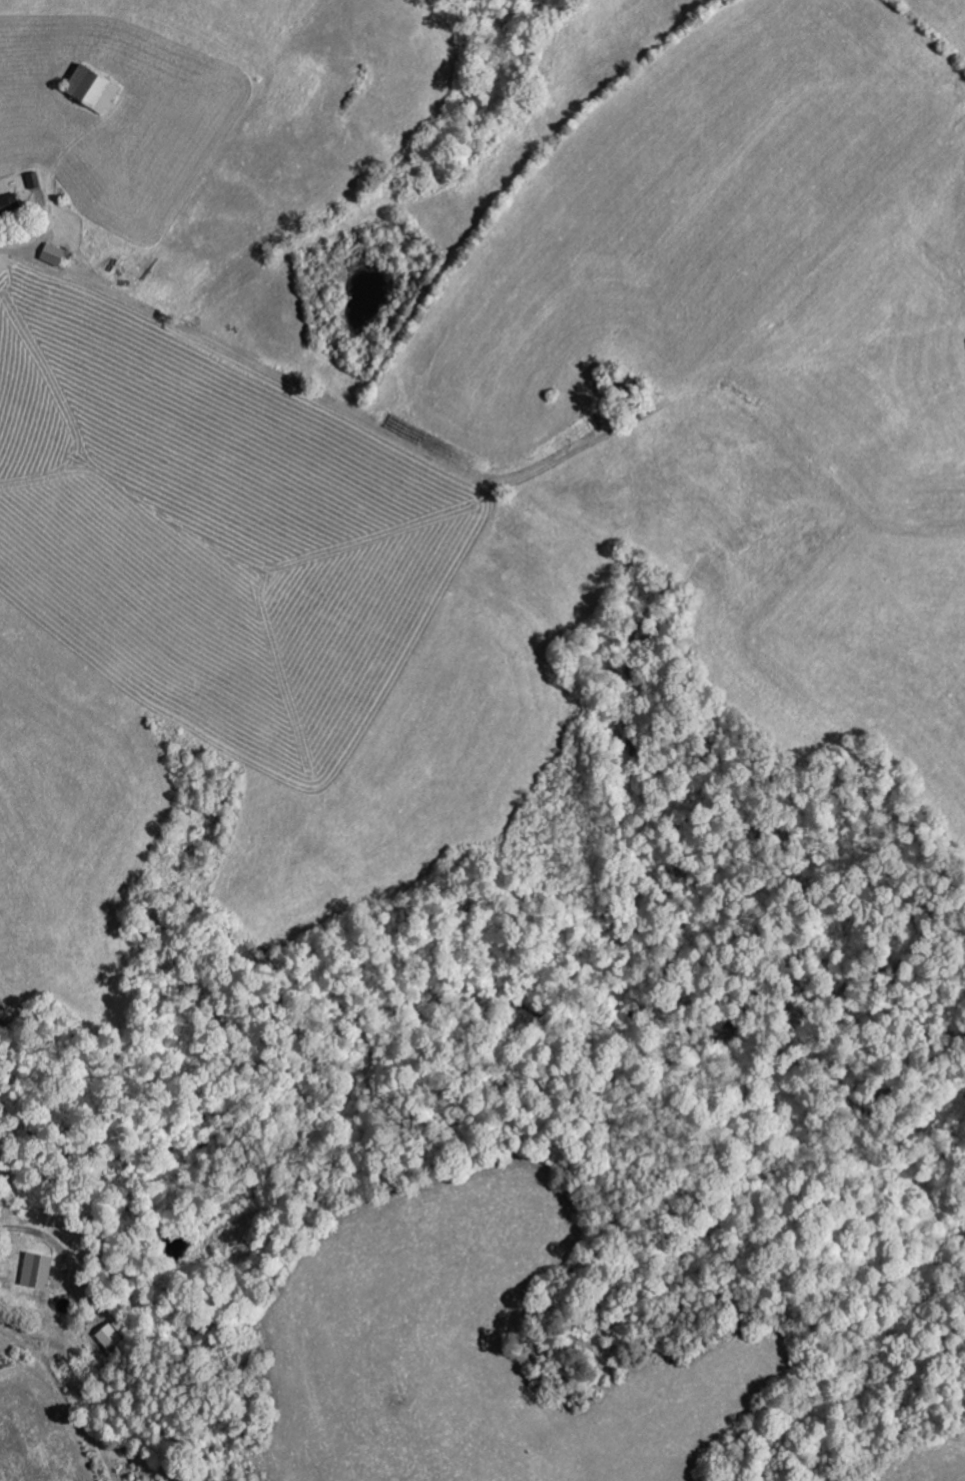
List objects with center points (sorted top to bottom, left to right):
building: (89, 88)
building: (8, 203)
building: (50, 254)
road: (506, 459)
building: (35, 1272)
building: (108, 1336)

